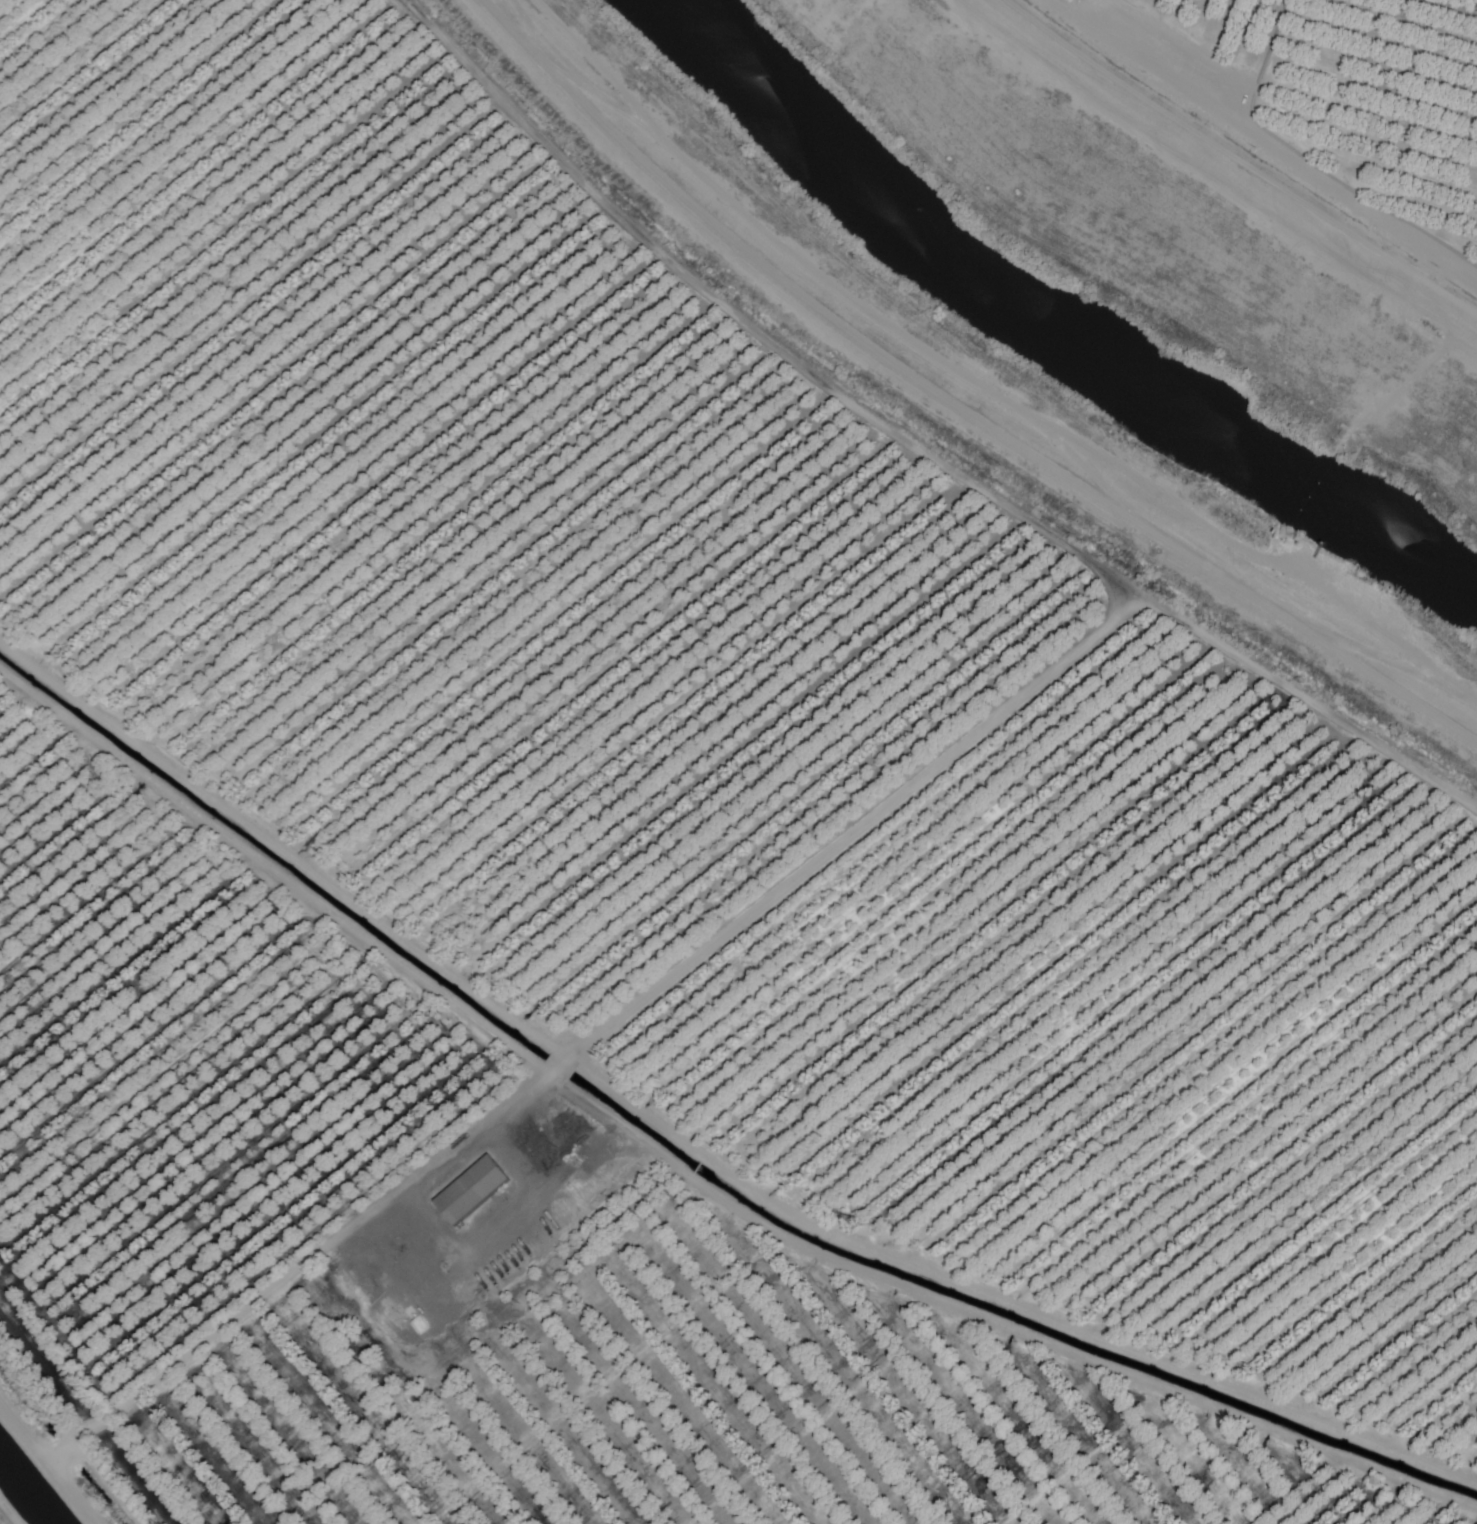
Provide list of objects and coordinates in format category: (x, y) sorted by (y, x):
road: (1215, 186)
road: (1434, 281)
river: (1044, 329)
road: (955, 403)
road: (915, 440)
road: (593, 1032)
road: (691, 1150)
building: (475, 1191)
road: (47, 1463)
road: (8, 1513)

